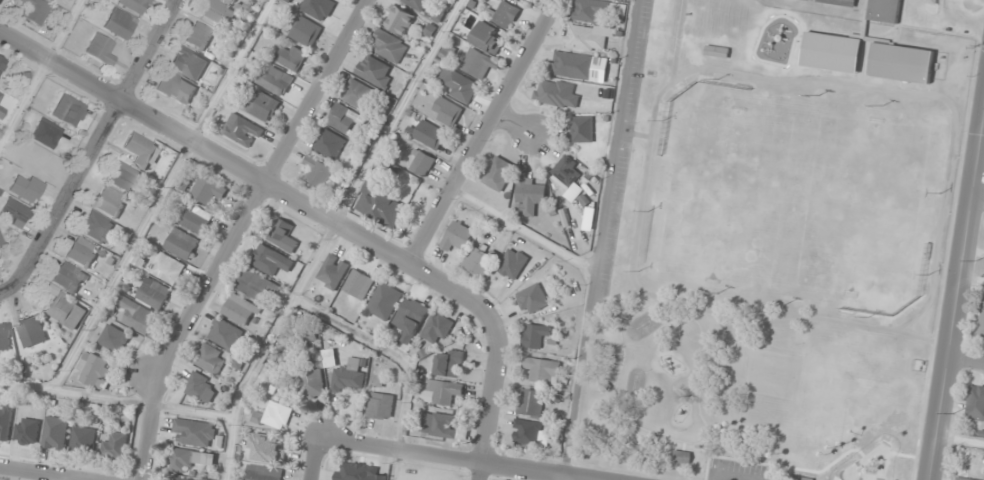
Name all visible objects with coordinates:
building: (810, 0)
building: (237, 1)
building: (842, 2)
building: (417, 4)
building: (133, 5)
building: (318, 8)
building: (597, 9)
building: (34, 10)
building: (886, 10)
building: (217, 11)
building: (506, 14)
road: (963, 17)
building: (400, 20)
building: (118, 24)
building: (306, 32)
building: (199, 36)
building: (487, 37)
building: (588, 37)
building: (389, 46)
building: (100, 50)
building: (717, 51)
building: (832, 52)
building: (292, 57)
building: (188, 63)
building: (902, 63)
building: (2, 64)
building: (478, 64)
building: (580, 66)
building: (375, 71)
building: (276, 81)
building: (459, 85)
building: (176, 88)
building: (556, 93)
building: (359, 95)
building: (263, 106)
building: (68, 111)
building: (446, 111)
building: (343, 118)
road: (513, 121)
building: (582, 129)
building: (242, 130)
road: (482, 132)
building: (46, 133)
building: (428, 134)
building: (329, 143)
road: (90, 147)
building: (140, 150)
building: (422, 163)
road: (237, 167)
building: (318, 171)
building: (567, 171)
building: (498, 173)
building: (124, 177)
building: (26, 187)
building: (208, 190)
building: (530, 190)
road: (643, 192)
road: (977, 198)
building: (110, 202)
building: (381, 206)
building: (13, 213)
building: (195, 219)
building: (98, 228)
road: (235, 233)
building: (284, 236)
building: (458, 236)
building: (1, 242)
building: (182, 243)
building: (82, 252)
building: (271, 260)
building: (480, 260)
building: (164, 266)
building: (333, 271)
park: (767, 271)
building: (69, 277)
building: (254, 285)
building: (359, 285)
building: (154, 293)
road: (5, 296)
road: (660, 297)
road: (957, 297)
building: (532, 299)
building: (385, 301)
road: (651, 302)
building: (240, 310)
building: (67, 311)
building: (137, 315)
building: (411, 318)
building: (982, 320)
building: (438, 328)
building: (31, 330)
road: (903, 332)
building: (225, 334)
building: (535, 334)
building: (5, 337)
building: (114, 339)
building: (210, 359)
building: (449, 364)
road: (966, 365)
building: (94, 369)
building: (543, 370)
building: (350, 376)
building: (313, 383)
building: (201, 387)
road: (491, 388)
building: (448, 391)
building: (532, 403)
building: (975, 403)
building: (381, 406)
building: (275, 415)
building: (6, 423)
building: (443, 425)
building: (28, 431)
building: (526, 431)
building: (195, 432)
building: (56, 433)
building: (84, 439)
building: (116, 446)
building: (265, 448)
building: (681, 456)
road: (315, 458)
building: (190, 459)
road: (450, 459)
parking lot: (738, 470)
building: (358, 472)
building: (263, 473)
road: (31, 476)
road: (730, 477)
building: (184, 478)
building: (801, 478)
building: (963, 478)

